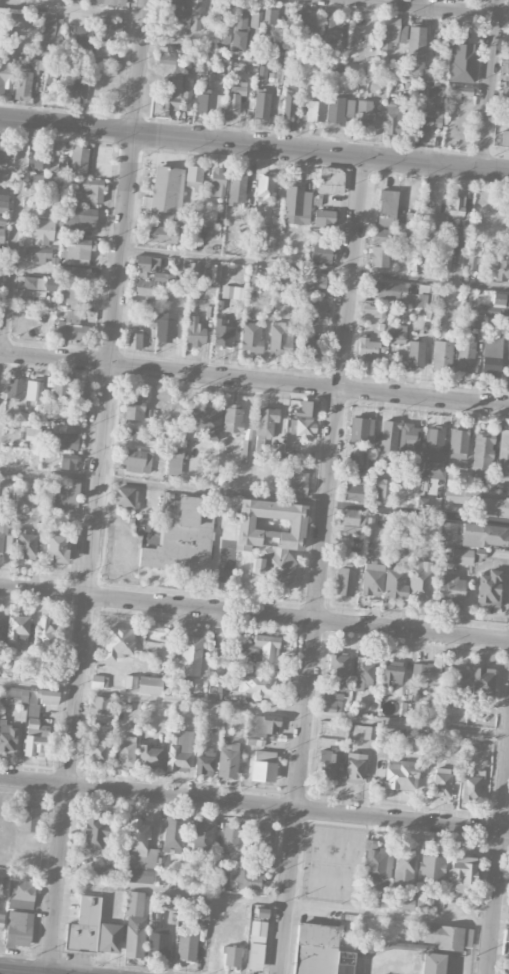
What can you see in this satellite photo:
building: (109, 2)
road: (435, 7)
building: (175, 9)
road: (72, 10)
building: (195, 15)
building: (224, 17)
building: (255, 17)
building: (240, 18)
building: (270, 20)
building: (300, 22)
building: (508, 24)
building: (47, 26)
building: (111, 28)
building: (332, 31)
building: (0, 32)
building: (392, 32)
building: (81, 37)
building: (444, 37)
building: (222, 38)
building: (416, 47)
building: (102, 49)
building: (462, 59)
building: (169, 60)
building: (382, 61)
building: (178, 68)
building: (507, 69)
building: (262, 73)
building: (276, 76)
building: (5, 77)
building: (506, 83)
road: (490, 84)
building: (22, 86)
building: (343, 86)
building: (65, 89)
building: (186, 90)
building: (78, 91)
building: (459, 92)
building: (434, 93)
building: (235, 98)
building: (205, 100)
building: (163, 101)
building: (261, 104)
building: (288, 104)
building: (330, 110)
building: (506, 112)
building: (364, 113)
building: (393, 117)
building: (425, 121)
building: (504, 138)
road: (254, 144)
building: (6, 155)
building: (41, 156)
building: (79, 160)
building: (3, 177)
building: (193, 177)
building: (331, 180)
building: (218, 181)
building: (44, 182)
building: (264, 185)
building: (236, 188)
building: (92, 190)
building: (165, 193)
building: (3, 202)
building: (296, 204)
building: (387, 208)
building: (458, 209)
building: (81, 218)
building: (323, 218)
building: (1, 229)
building: (43, 231)
building: (257, 234)
building: (162, 235)
building: (461, 243)
building: (379, 248)
building: (432, 248)
building: (75, 253)
building: (321, 253)
road: (13, 254)
building: (37, 254)
building: (472, 263)
building: (192, 267)
road: (314, 270)
building: (502, 270)
building: (211, 272)
building: (77, 273)
building: (145, 277)
building: (253, 278)
building: (31, 282)
building: (313, 283)
building: (232, 292)
building: (398, 293)
building: (75, 295)
building: (315, 307)
building: (69, 325)
building: (165, 327)
building: (194, 332)
building: (223, 332)
building: (397, 333)
building: (251, 337)
building: (280, 337)
building: (133, 339)
building: (309, 343)
building: (368, 349)
building: (442, 353)
building: (415, 354)
building: (466, 354)
building: (490, 356)
building: (507, 361)
road: (254, 381)
building: (60, 385)
building: (82, 388)
building: (15, 389)
building: (33, 390)
building: (133, 407)
building: (208, 417)
building: (232, 418)
building: (306, 418)
building: (267, 422)
building: (66, 428)
building: (29, 433)
building: (129, 434)
building: (389, 436)
building: (409, 437)
building: (66, 442)
building: (458, 443)
building: (245, 450)
building: (433, 451)
building: (503, 451)
building: (482, 456)
building: (354, 458)
building: (174, 459)
building: (136, 460)
building: (68, 461)
building: (297, 483)
building: (503, 484)
road: (95, 485)
building: (488, 485)
road: (163, 488)
building: (382, 488)
building: (354, 490)
building: (406, 492)
building: (65, 494)
building: (126, 498)
building: (477, 501)
building: (421, 502)
road: (418, 513)
building: (352, 521)
building: (447, 533)
building: (183, 534)
building: (270, 535)
building: (484, 535)
building: (5, 540)
building: (26, 543)
building: (57, 550)
building: (461, 556)
road: (321, 565)
building: (372, 579)
building: (345, 580)
building: (419, 580)
building: (395, 584)
building: (450, 589)
building: (489, 589)
building: (0, 614)
road: (254, 614)
building: (17, 632)
building: (45, 632)
building: (117, 642)
building: (261, 648)
building: (190, 655)
building: (338, 667)
building: (363, 672)
building: (425, 672)
building: (392, 673)
building: (454, 677)
building: (99, 681)
building: (483, 681)
building: (143, 683)
building: (177, 685)
building: (253, 685)
building: (214, 689)
building: (332, 698)
building: (99, 705)
road: (254, 707)
building: (32, 716)
building: (264, 726)
building: (369, 732)
building: (8, 738)
building: (98, 750)
building: (179, 750)
building: (124, 753)
building: (151, 755)
building: (227, 760)
building: (204, 763)
building: (329, 763)
building: (263, 766)
building: (354, 768)
building: (402, 775)
building: (442, 785)
building: (471, 786)
road: (254, 806)
building: (29, 816)
building: (94, 832)
building: (172, 834)
building: (201, 835)
building: (231, 837)
building: (260, 839)
building: (139, 853)
building: (255, 864)
building: (376, 865)
building: (403, 868)
building: (432, 868)
building: (104, 872)
building: (461, 874)
road: (498, 874)
building: (216, 879)
building: (246, 879)
building: (0, 887)
building: (22, 893)
road: (254, 900)
building: (424, 900)
building: (379, 902)
building: (401, 902)
building: (134, 903)
building: (200, 909)
building: (261, 912)
building: (1, 918)
building: (84, 925)
building: (17, 928)
building: (506, 935)
building: (444, 936)
building: (109, 938)
building: (134, 939)
building: (157, 940)
building: (256, 945)
building: (186, 946)
building: (320, 951)
building: (230, 955)
building: (432, 963)
building: (505, 969)
road: (31, 970)
road: (45, 973)

